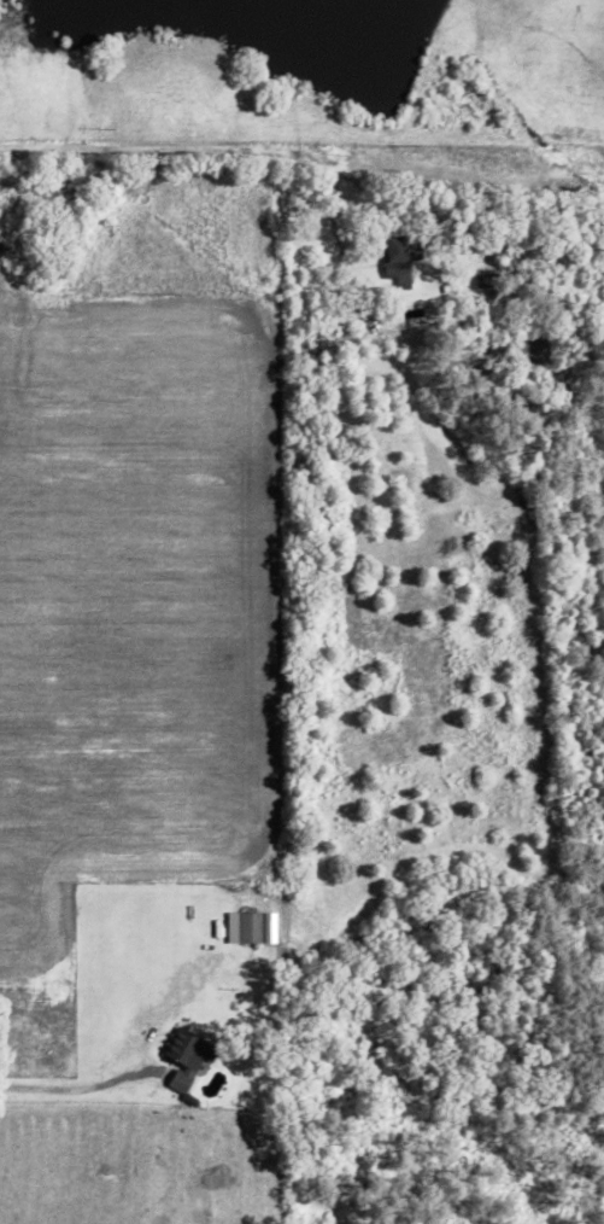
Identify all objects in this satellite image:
road: (211, 148)
building: (403, 258)
building: (247, 927)
building: (274, 927)
building: (190, 1056)
road: (76, 1089)

